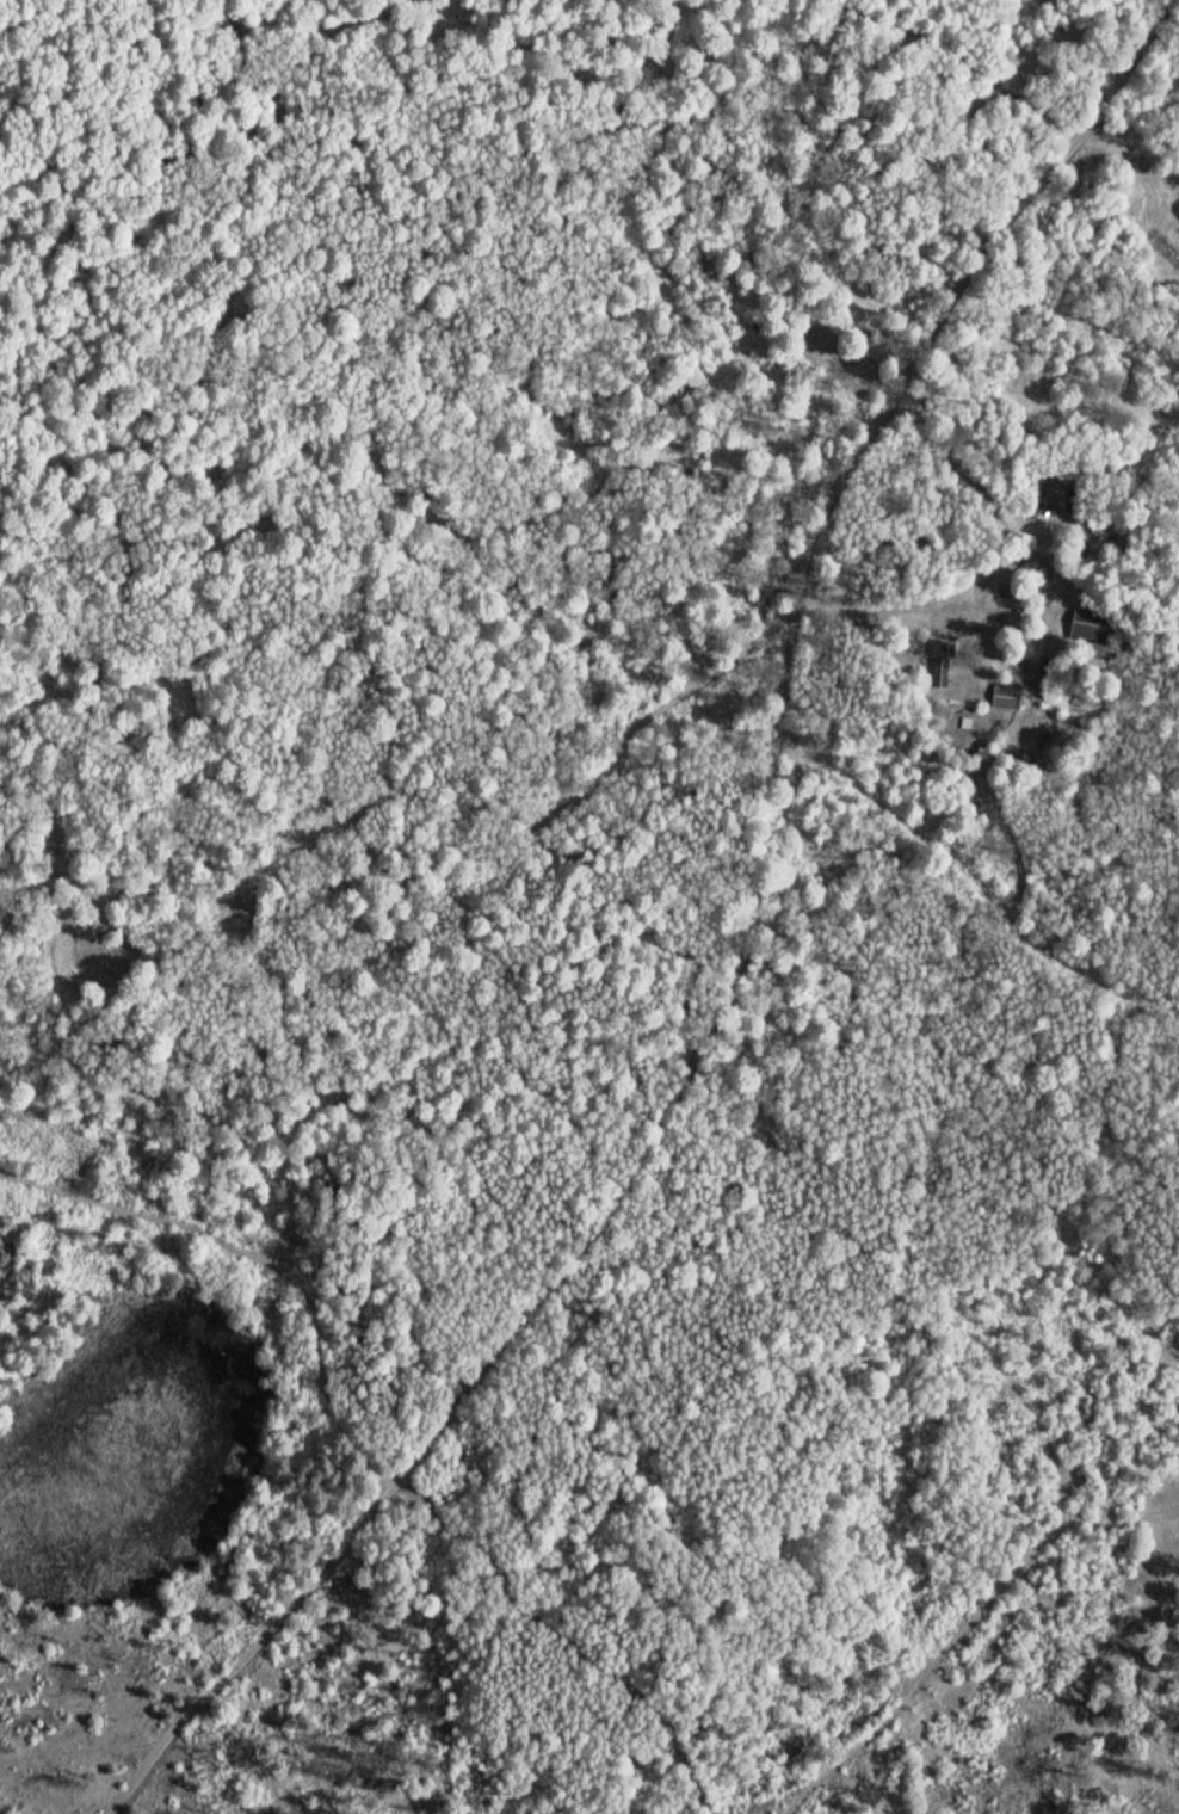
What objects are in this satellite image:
road: (168, 481)
road: (986, 485)
building: (1031, 506)
building: (1093, 628)
building: (943, 664)
road: (1036, 675)
building: (1007, 697)
road: (742, 952)
road: (368, 1457)

